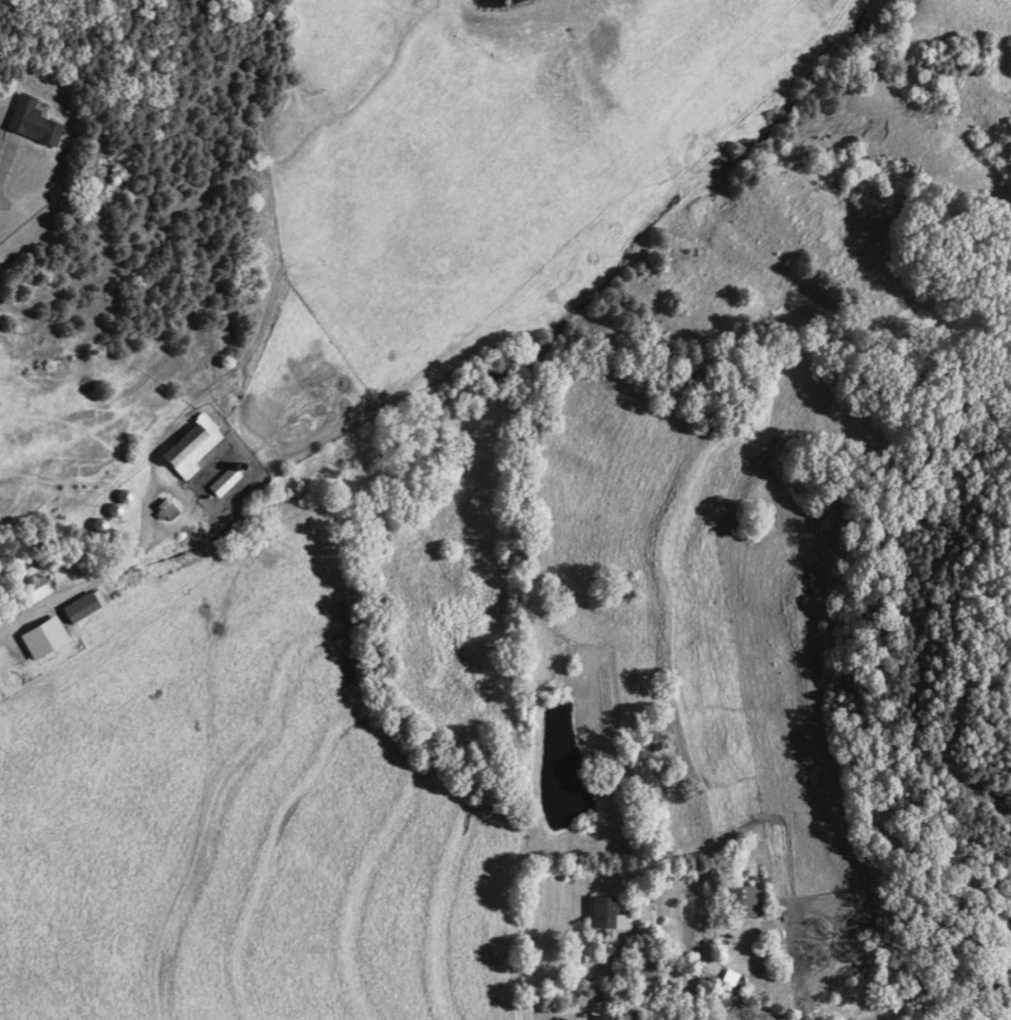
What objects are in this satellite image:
building: (33, 129)
road: (8, 171)
building: (191, 448)
building: (224, 482)
building: (261, 492)
building: (114, 511)
road: (82, 587)
building: (31, 592)
building: (82, 607)
building: (43, 638)
building: (743, 902)
building: (602, 913)
road: (605, 955)
building: (601, 1019)

